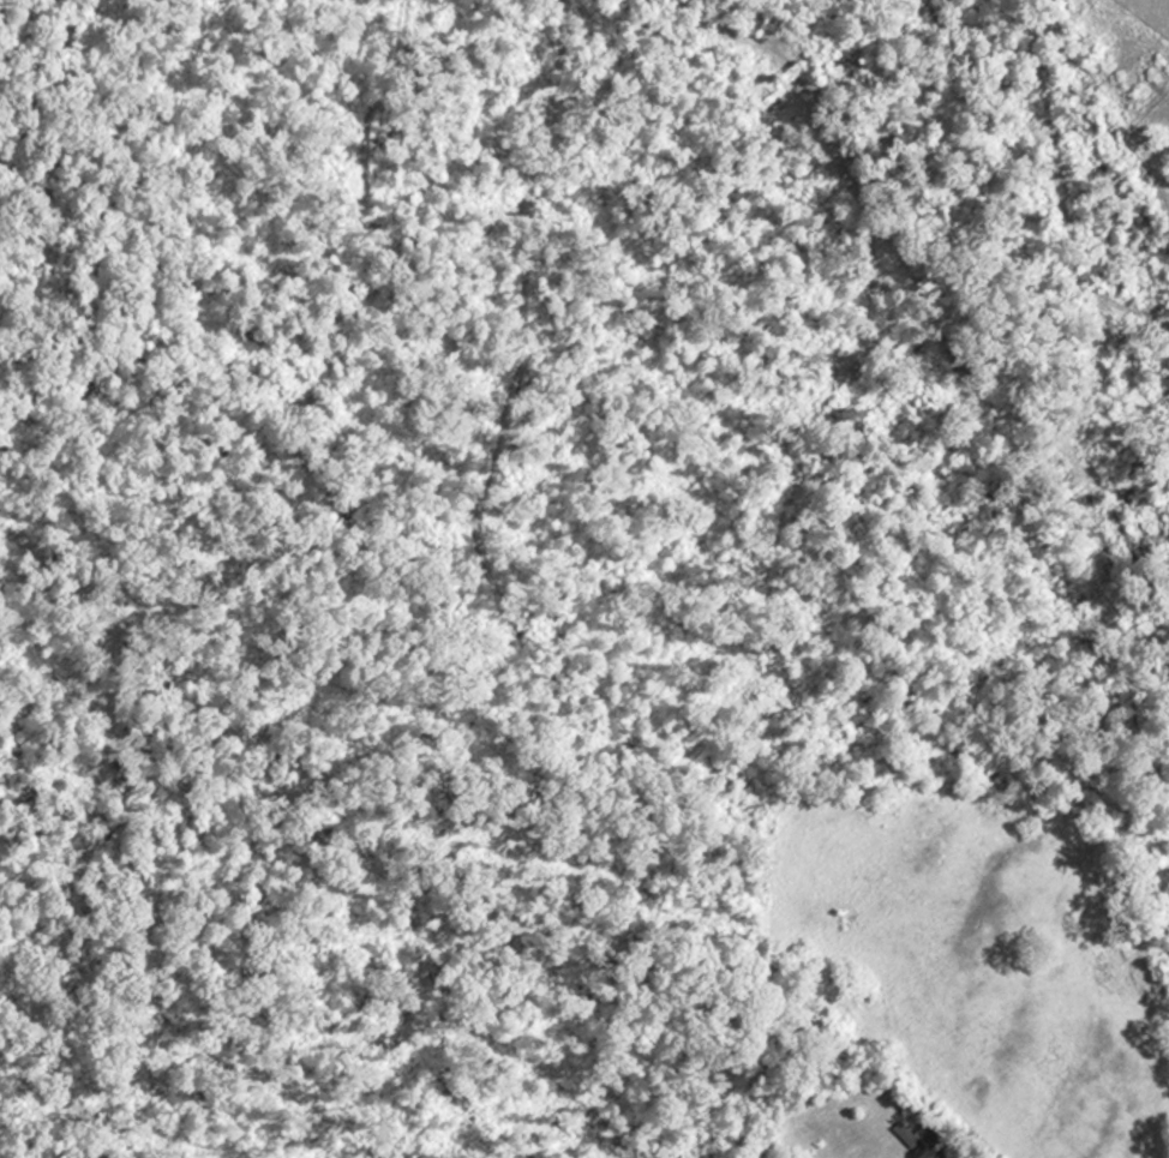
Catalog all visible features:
crop: (1140, 85)
crop: (991, 953)
building: (933, 1140)

